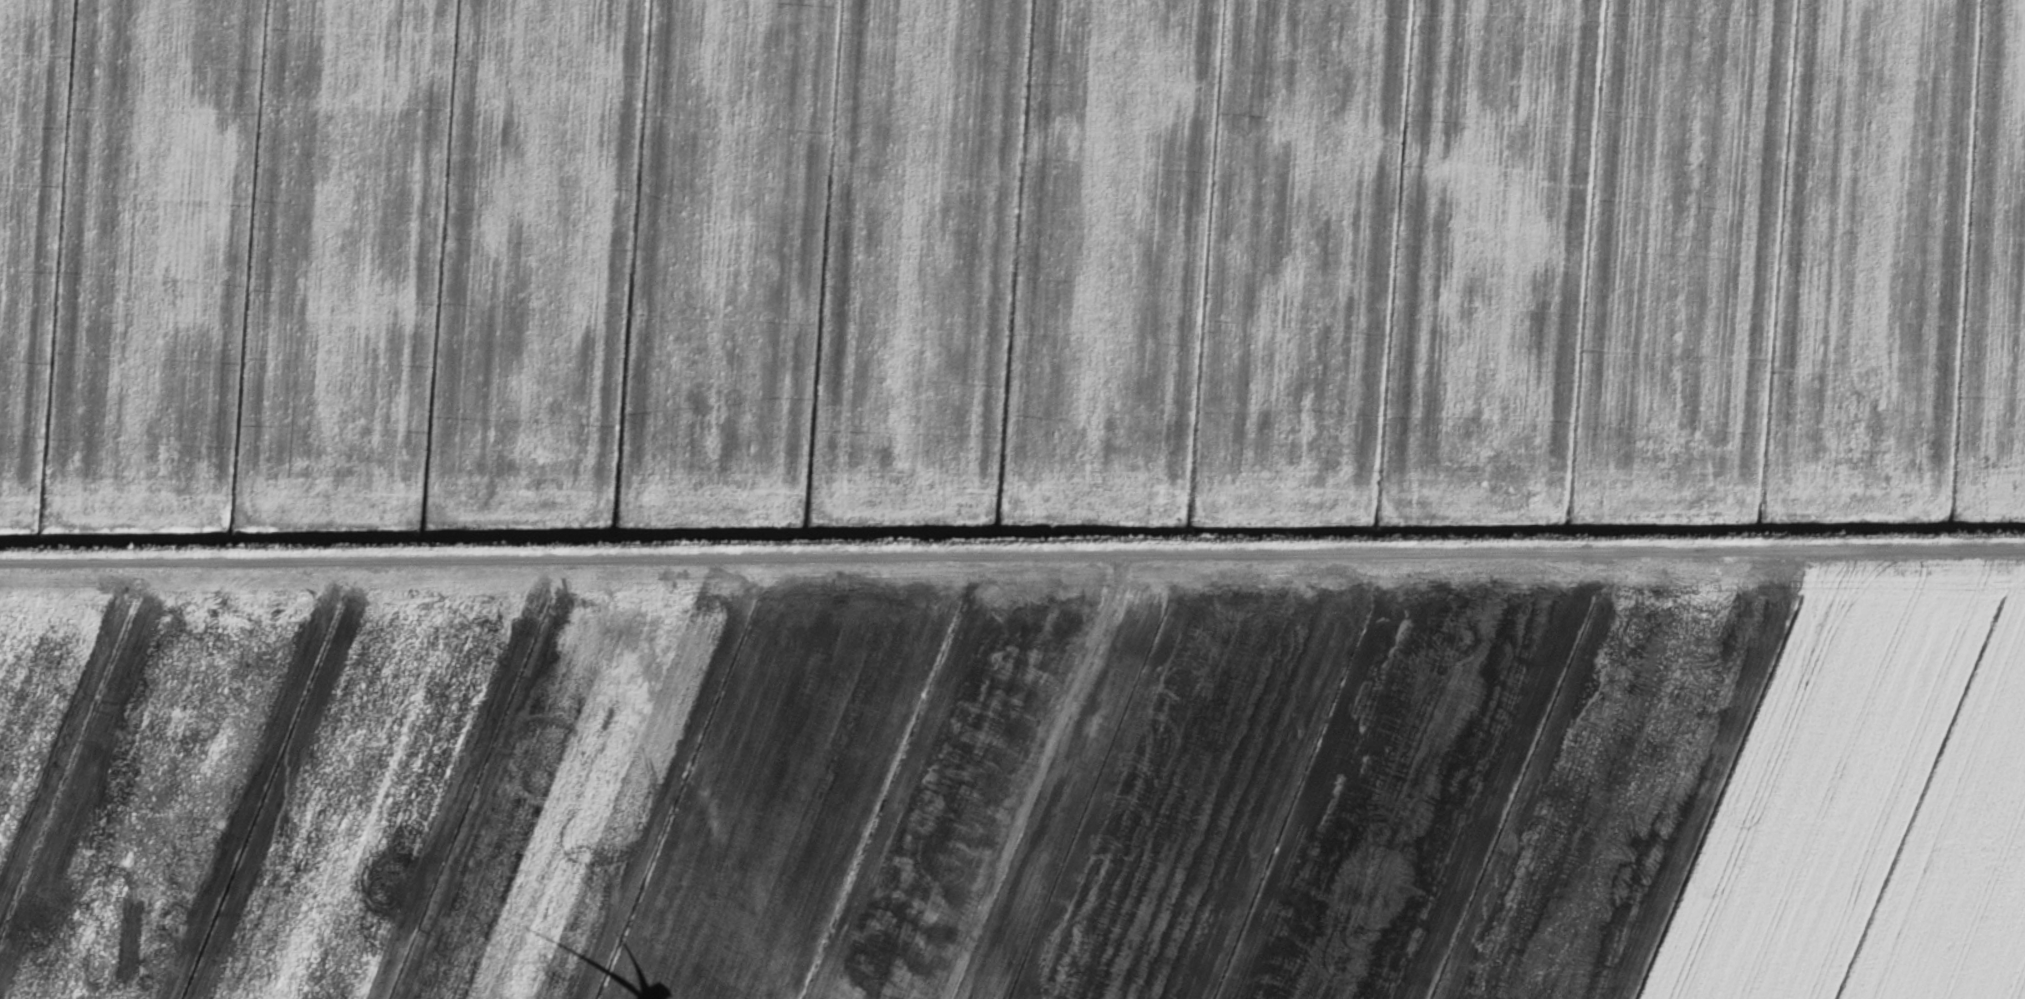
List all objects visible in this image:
road: (1012, 567)

